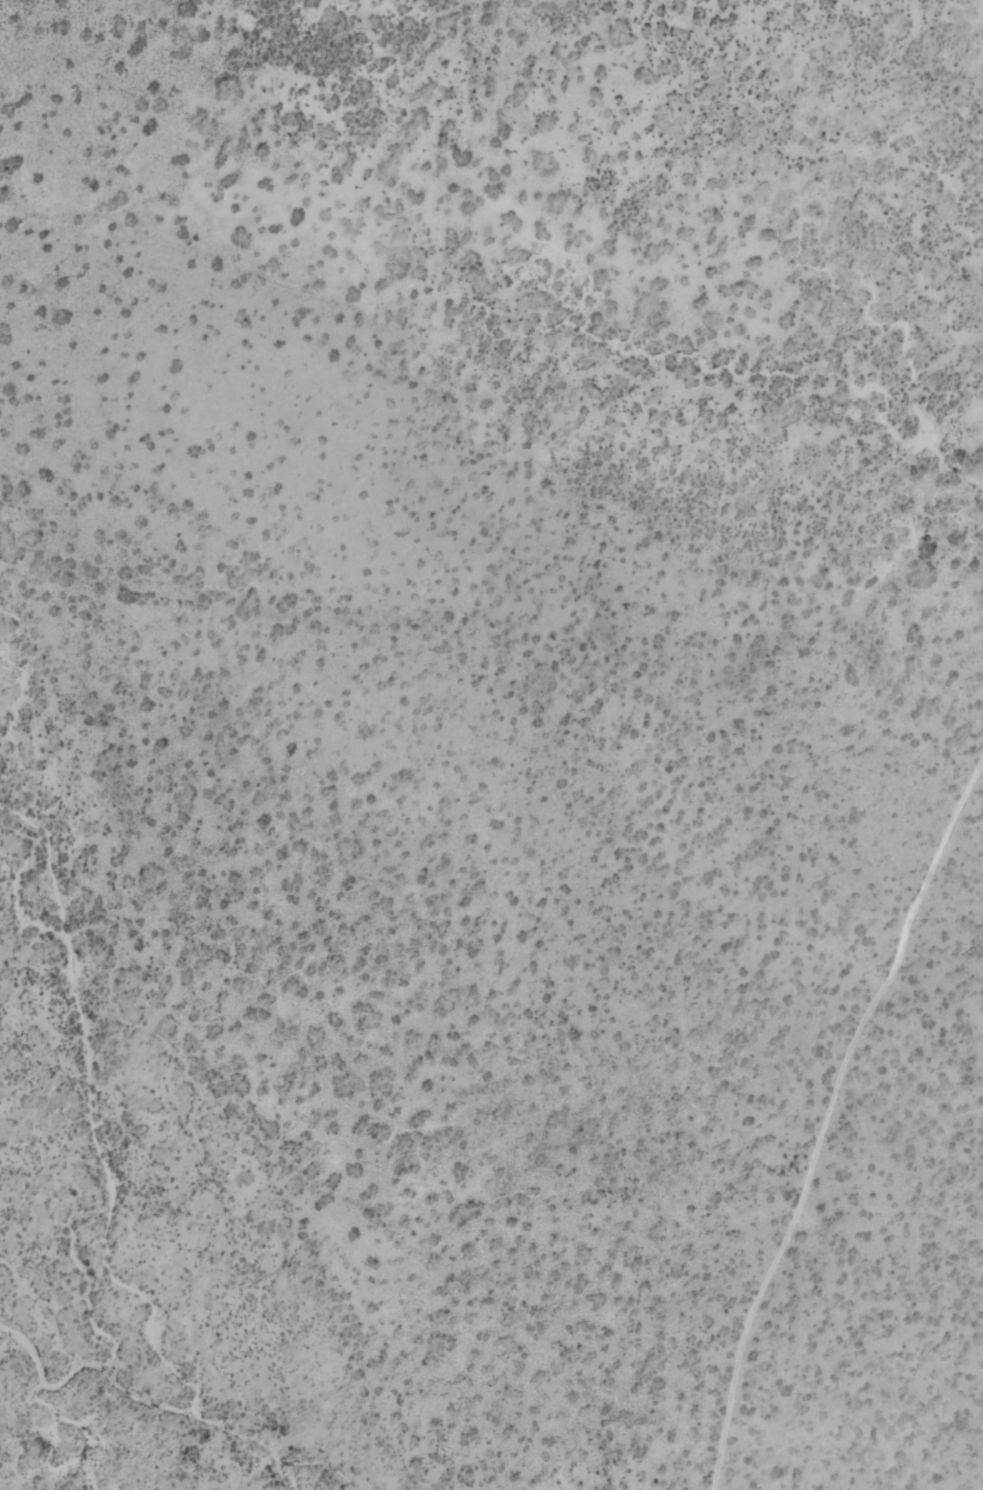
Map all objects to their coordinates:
road: (895, 966)
road: (781, 1337)

